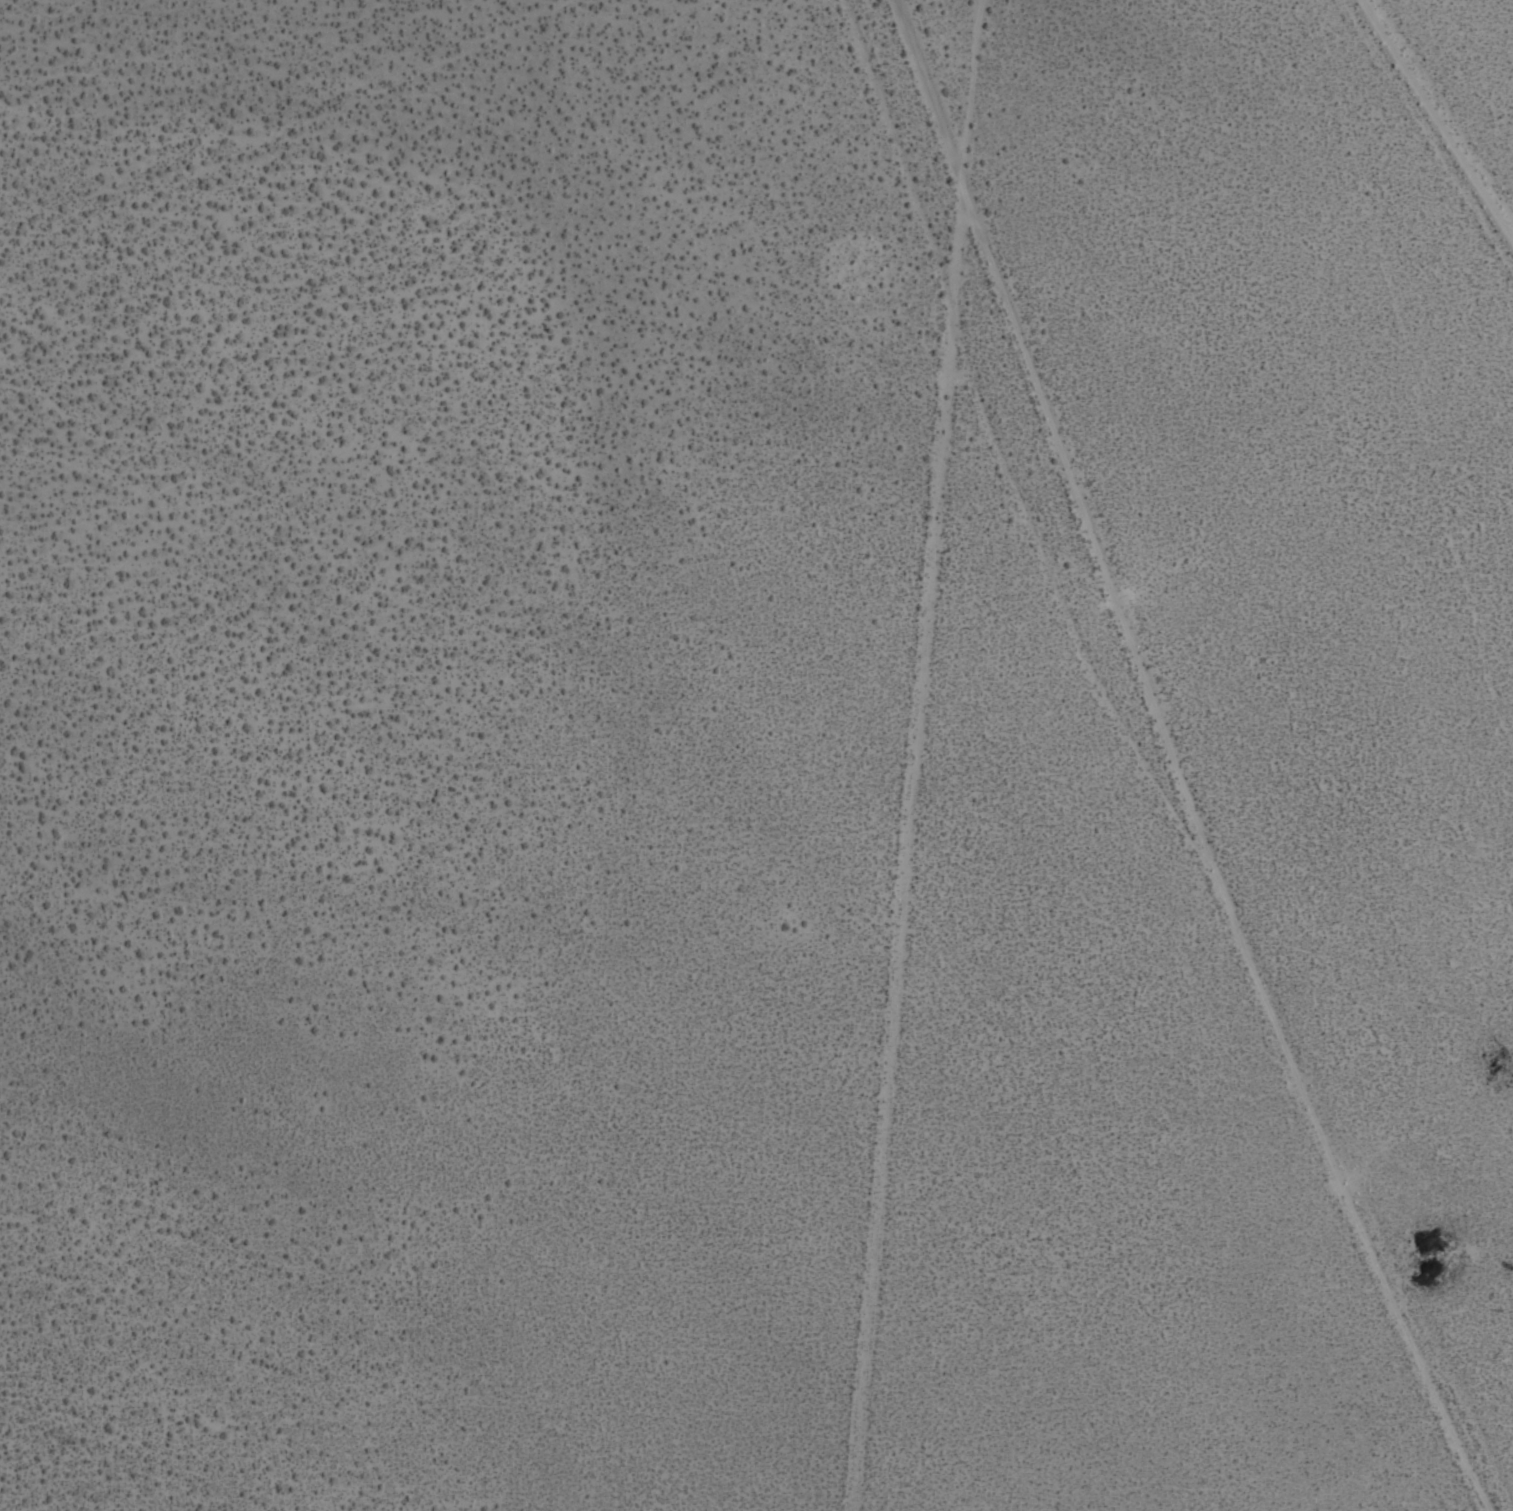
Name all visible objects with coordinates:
road: (966, 168)
road: (917, 840)
road: (1224, 867)

